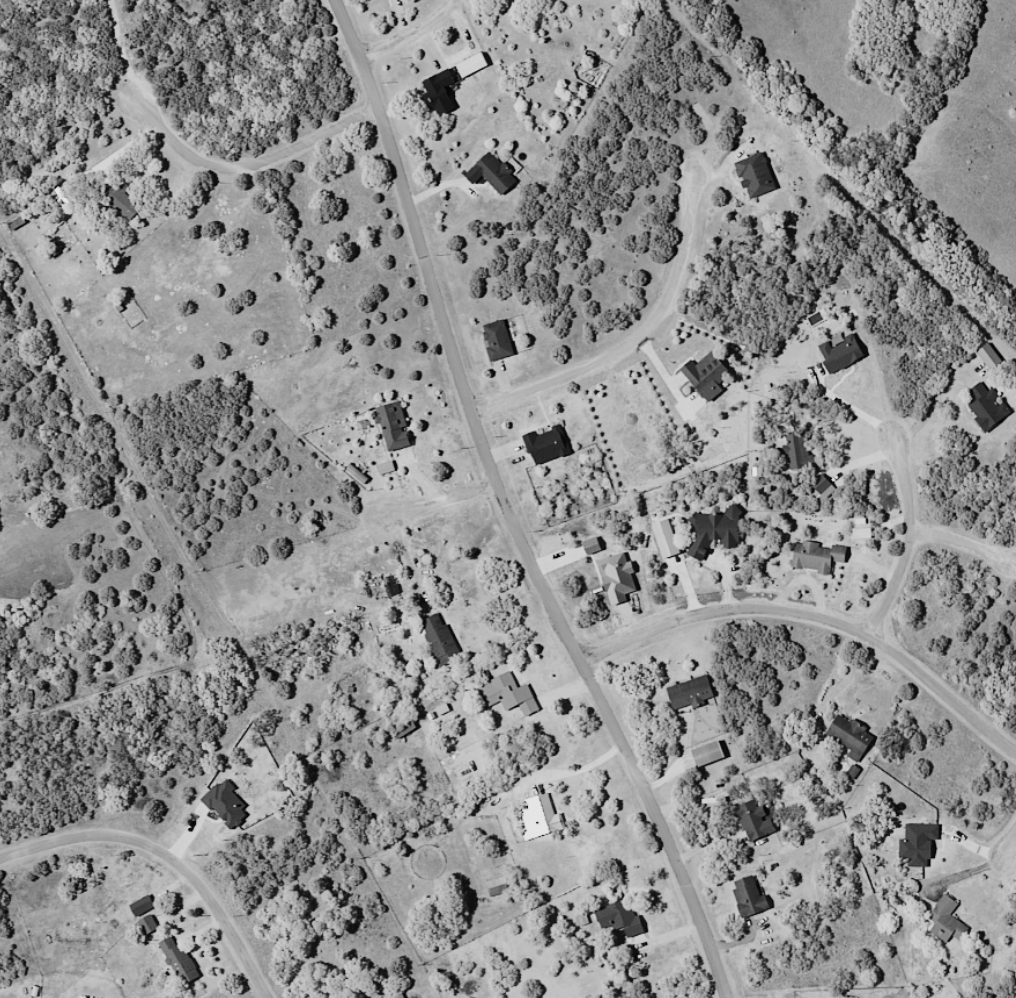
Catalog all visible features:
road: (410, 34)
road: (127, 52)
building: (472, 73)
building: (443, 99)
road: (257, 160)
building: (499, 180)
building: (764, 181)
building: (125, 186)
road: (635, 339)
building: (503, 344)
building: (987, 357)
building: (848, 360)
building: (714, 382)
building: (985, 406)
building: (401, 428)
building: (796, 449)
building: (552, 451)
road: (442, 502)
road: (508, 508)
building: (868, 537)
road: (961, 539)
building: (722, 540)
road: (901, 541)
building: (672, 545)
building: (822, 562)
building: (389, 586)
road: (816, 611)
building: (438, 640)
building: (688, 693)
building: (507, 695)
building: (402, 729)
building: (857, 741)
building: (695, 758)
building: (540, 816)
building: (753, 819)
road: (1008, 851)
road: (170, 854)
building: (497, 893)
building: (747, 896)
building: (620, 917)
building: (944, 920)
building: (146, 923)
building: (177, 960)

